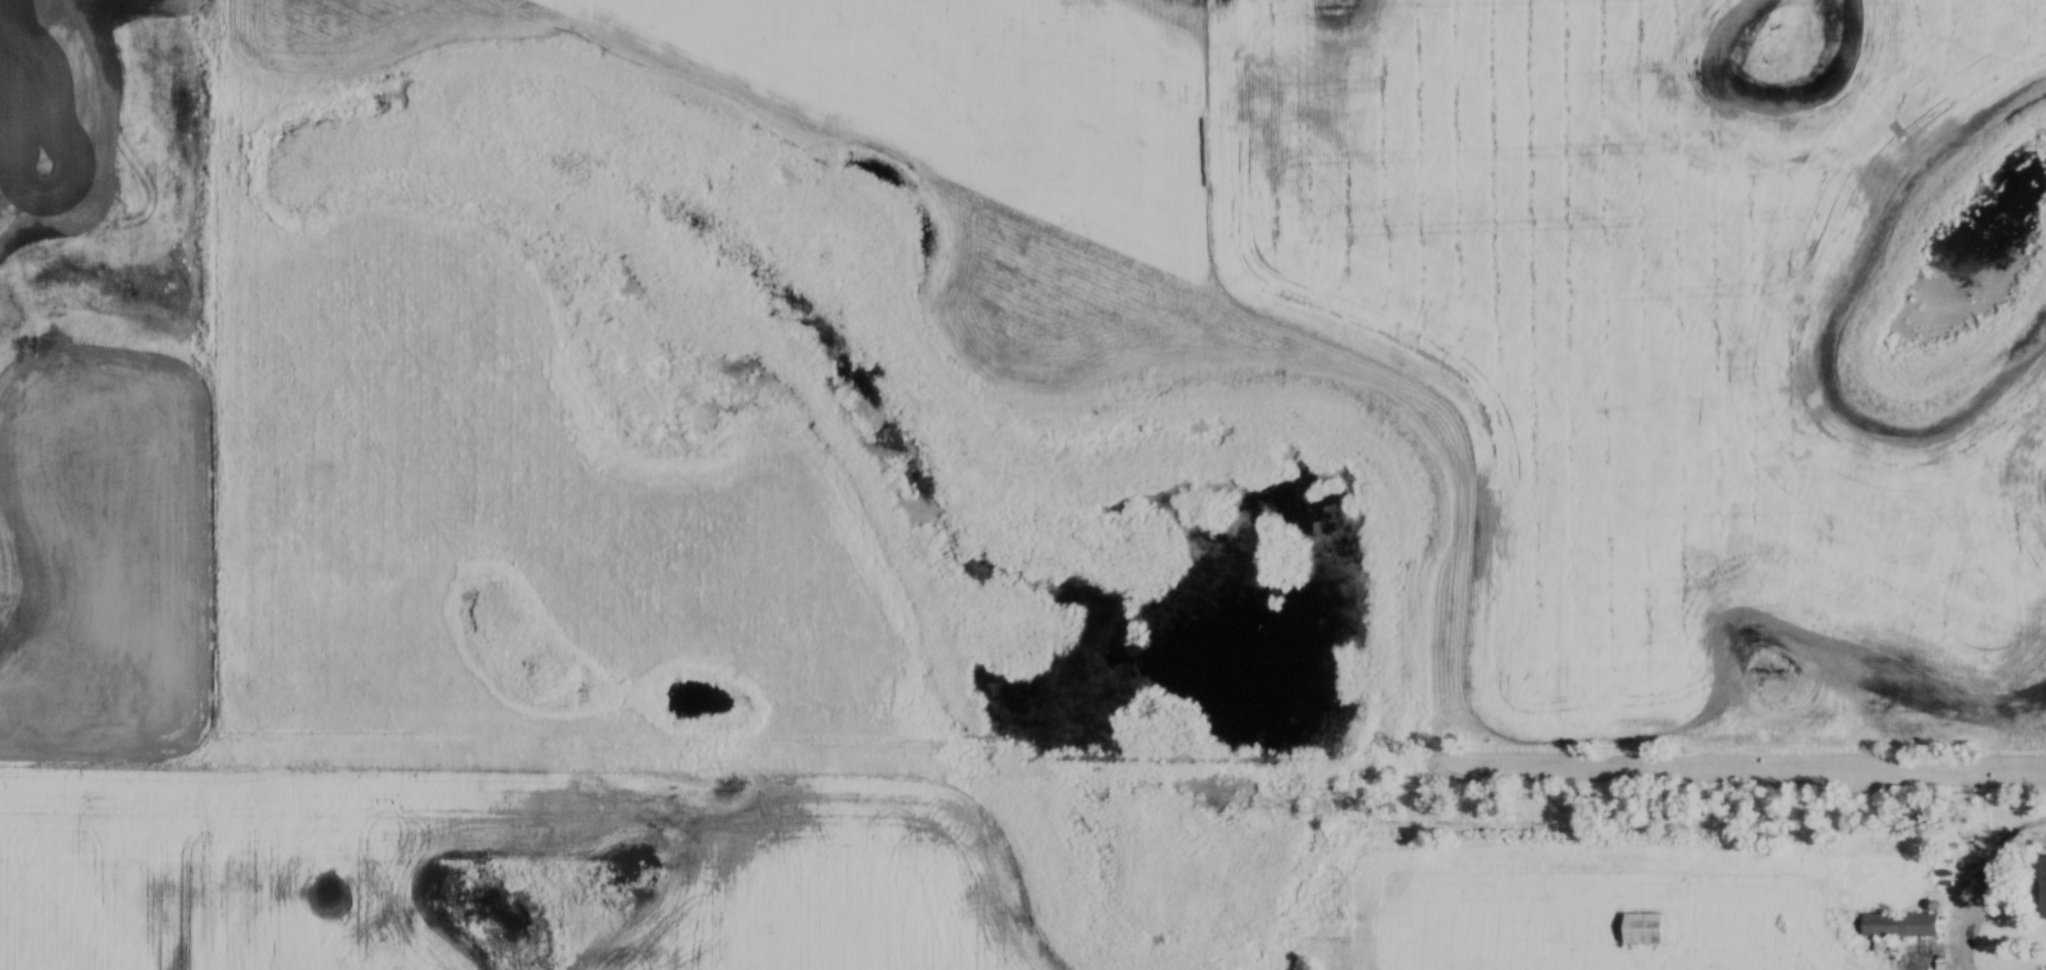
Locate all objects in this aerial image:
road: (1975, 874)
building: (2041, 886)
building: (1897, 922)
building: (1642, 927)

